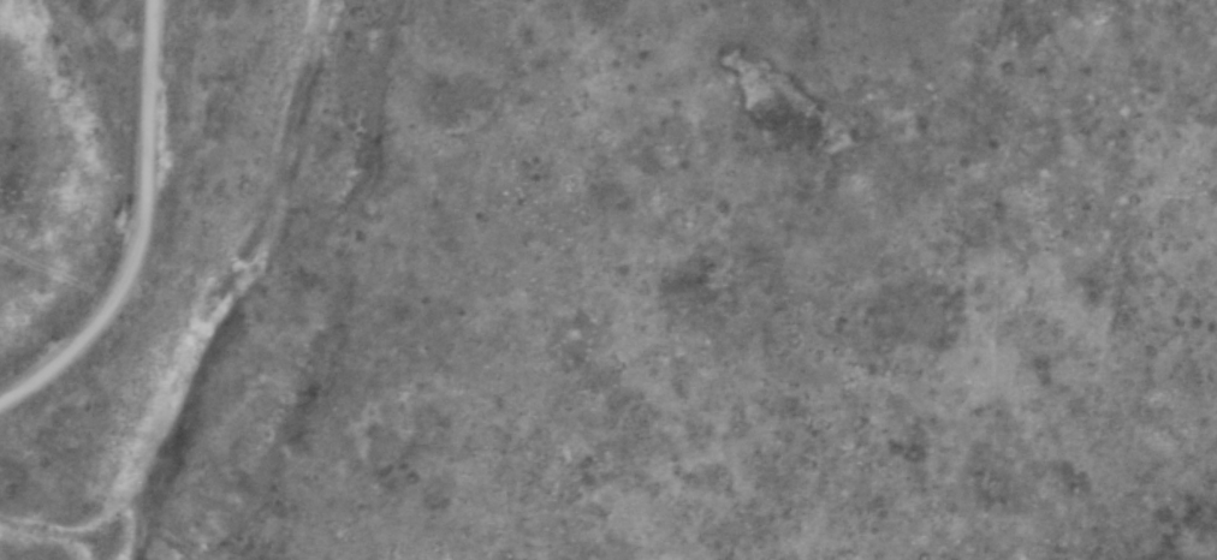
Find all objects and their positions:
road: (132, 221)

